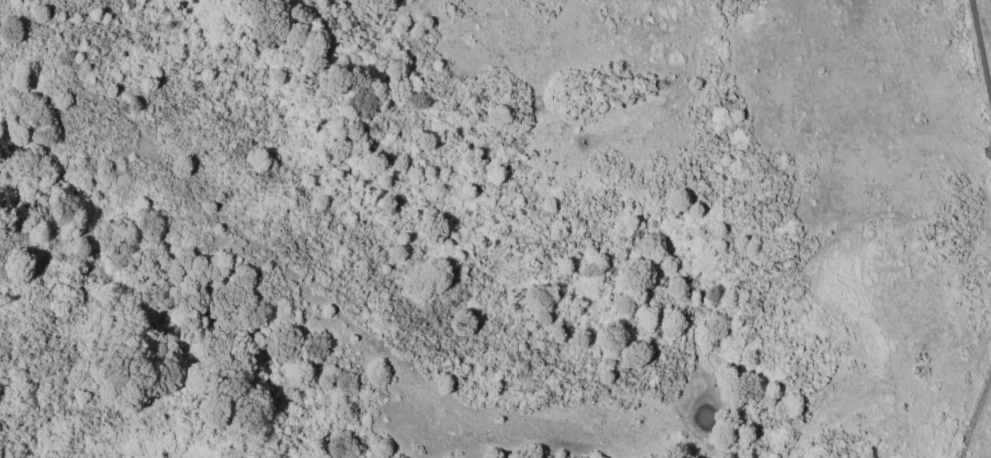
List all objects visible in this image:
road: (981, 48)
road: (926, 105)

